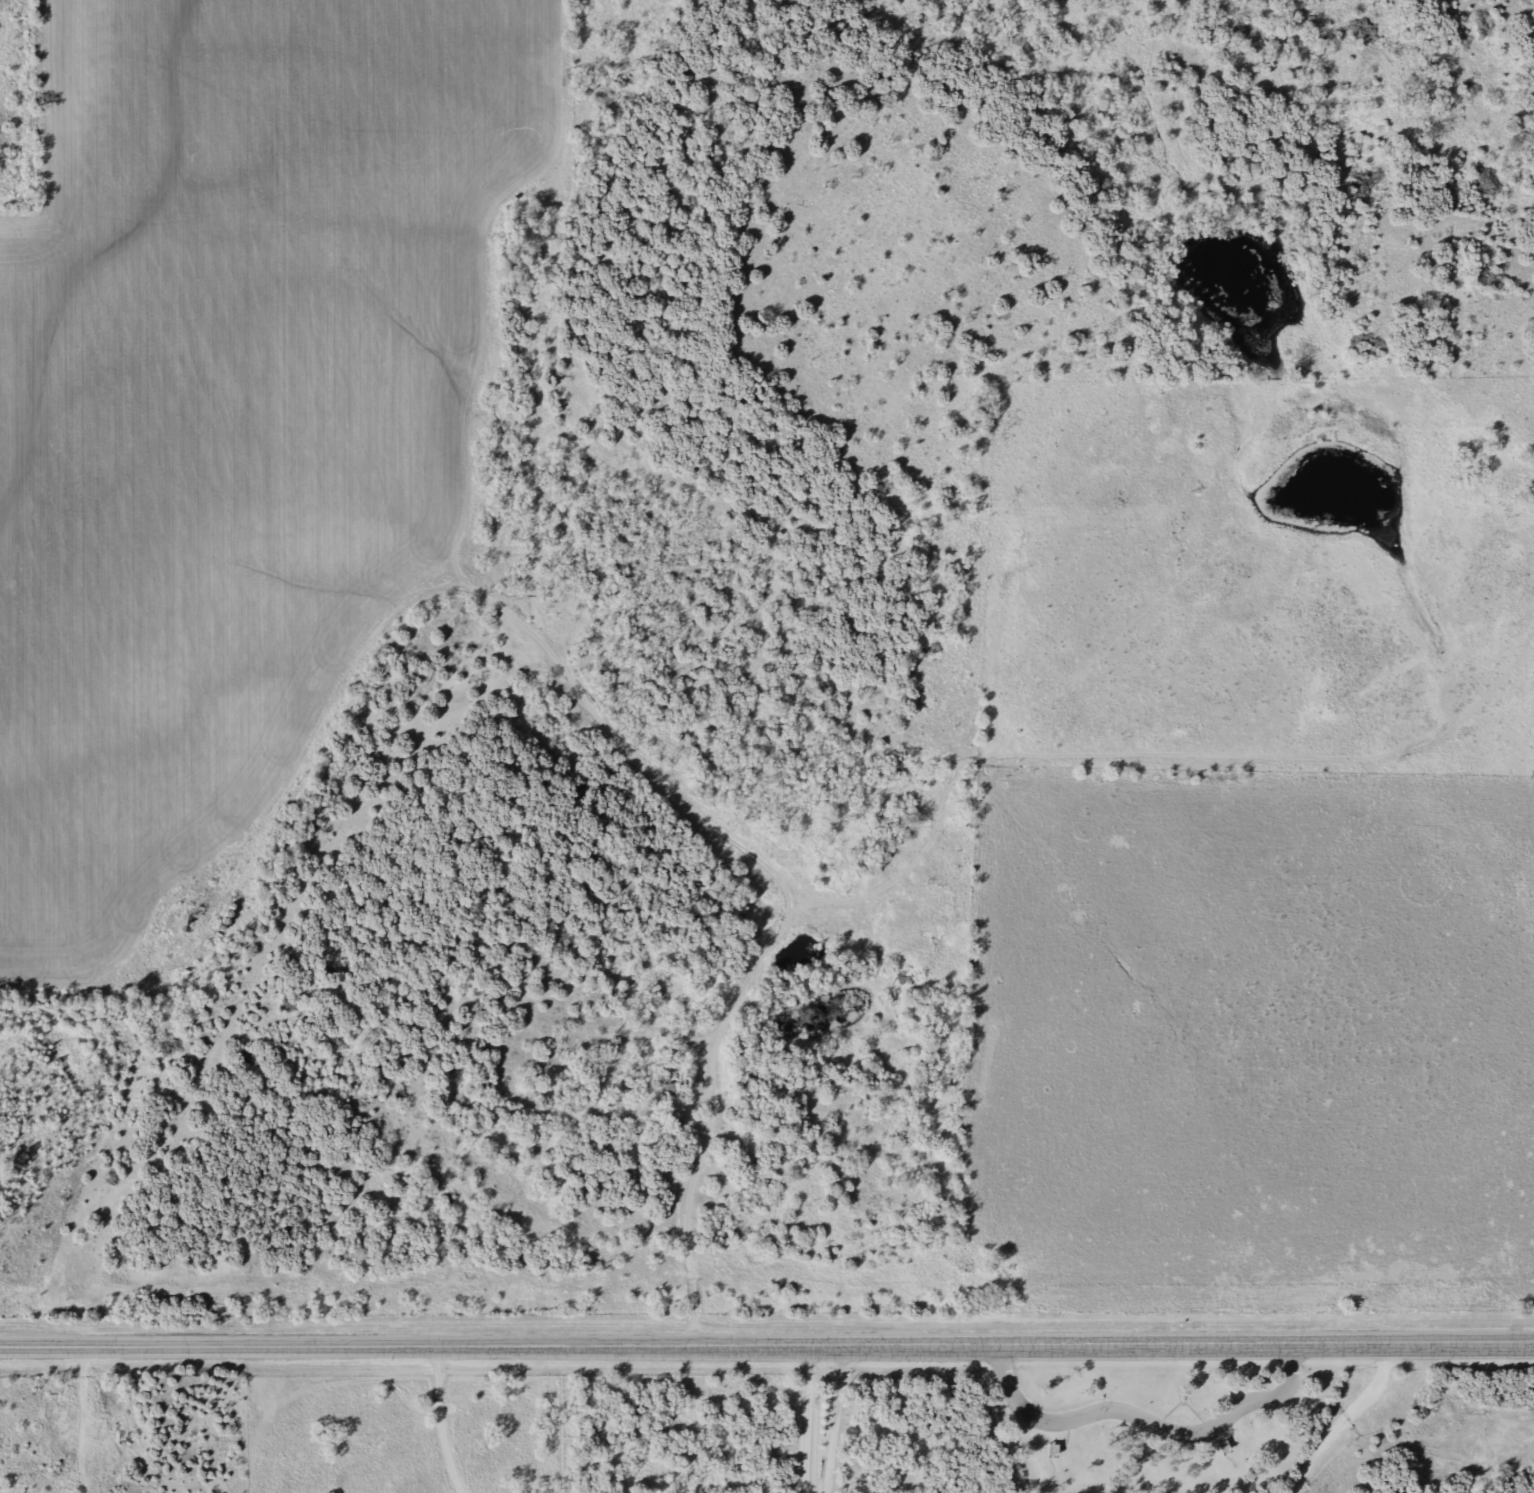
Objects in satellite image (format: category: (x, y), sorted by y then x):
road: (685, 1230)
road: (767, 1342)
park: (1146, 1377)
road: (1144, 1411)
road: (1361, 1422)
park: (1179, 1440)

